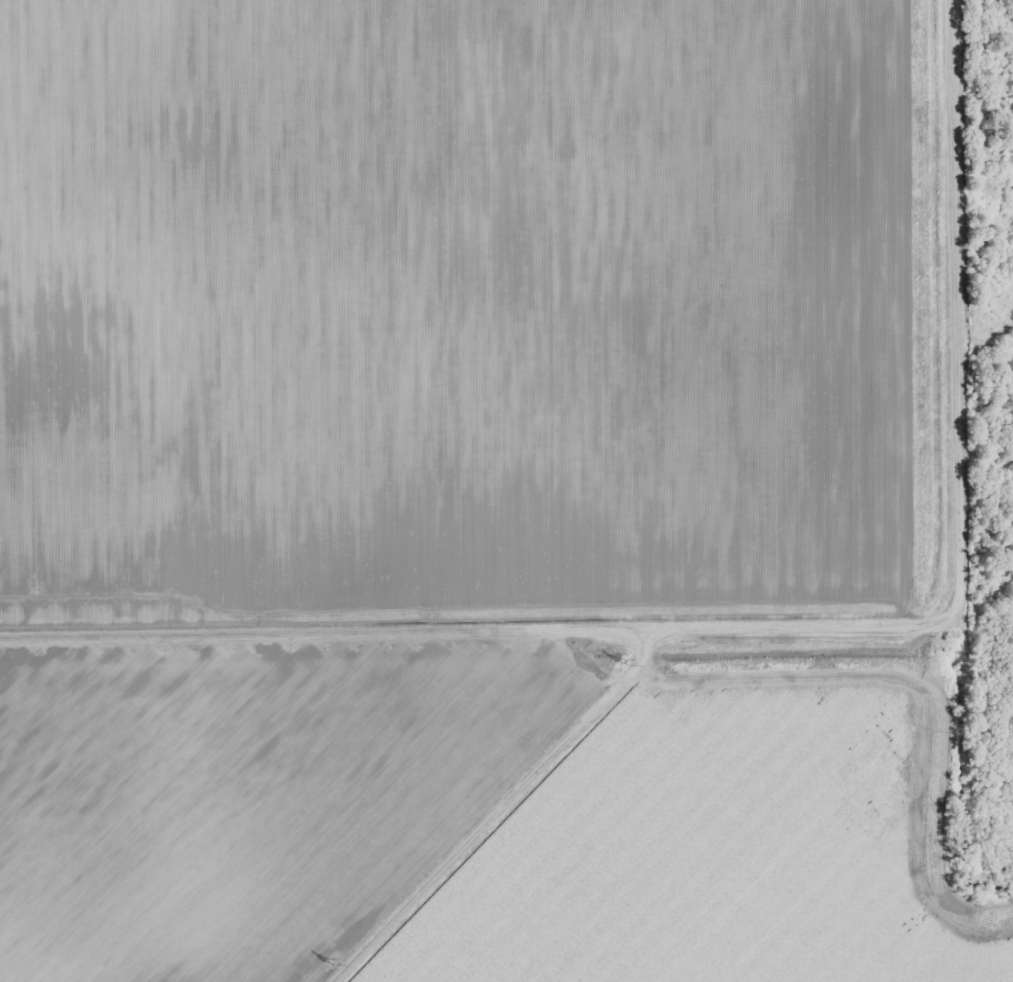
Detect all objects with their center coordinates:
power tower: (654, 693)

